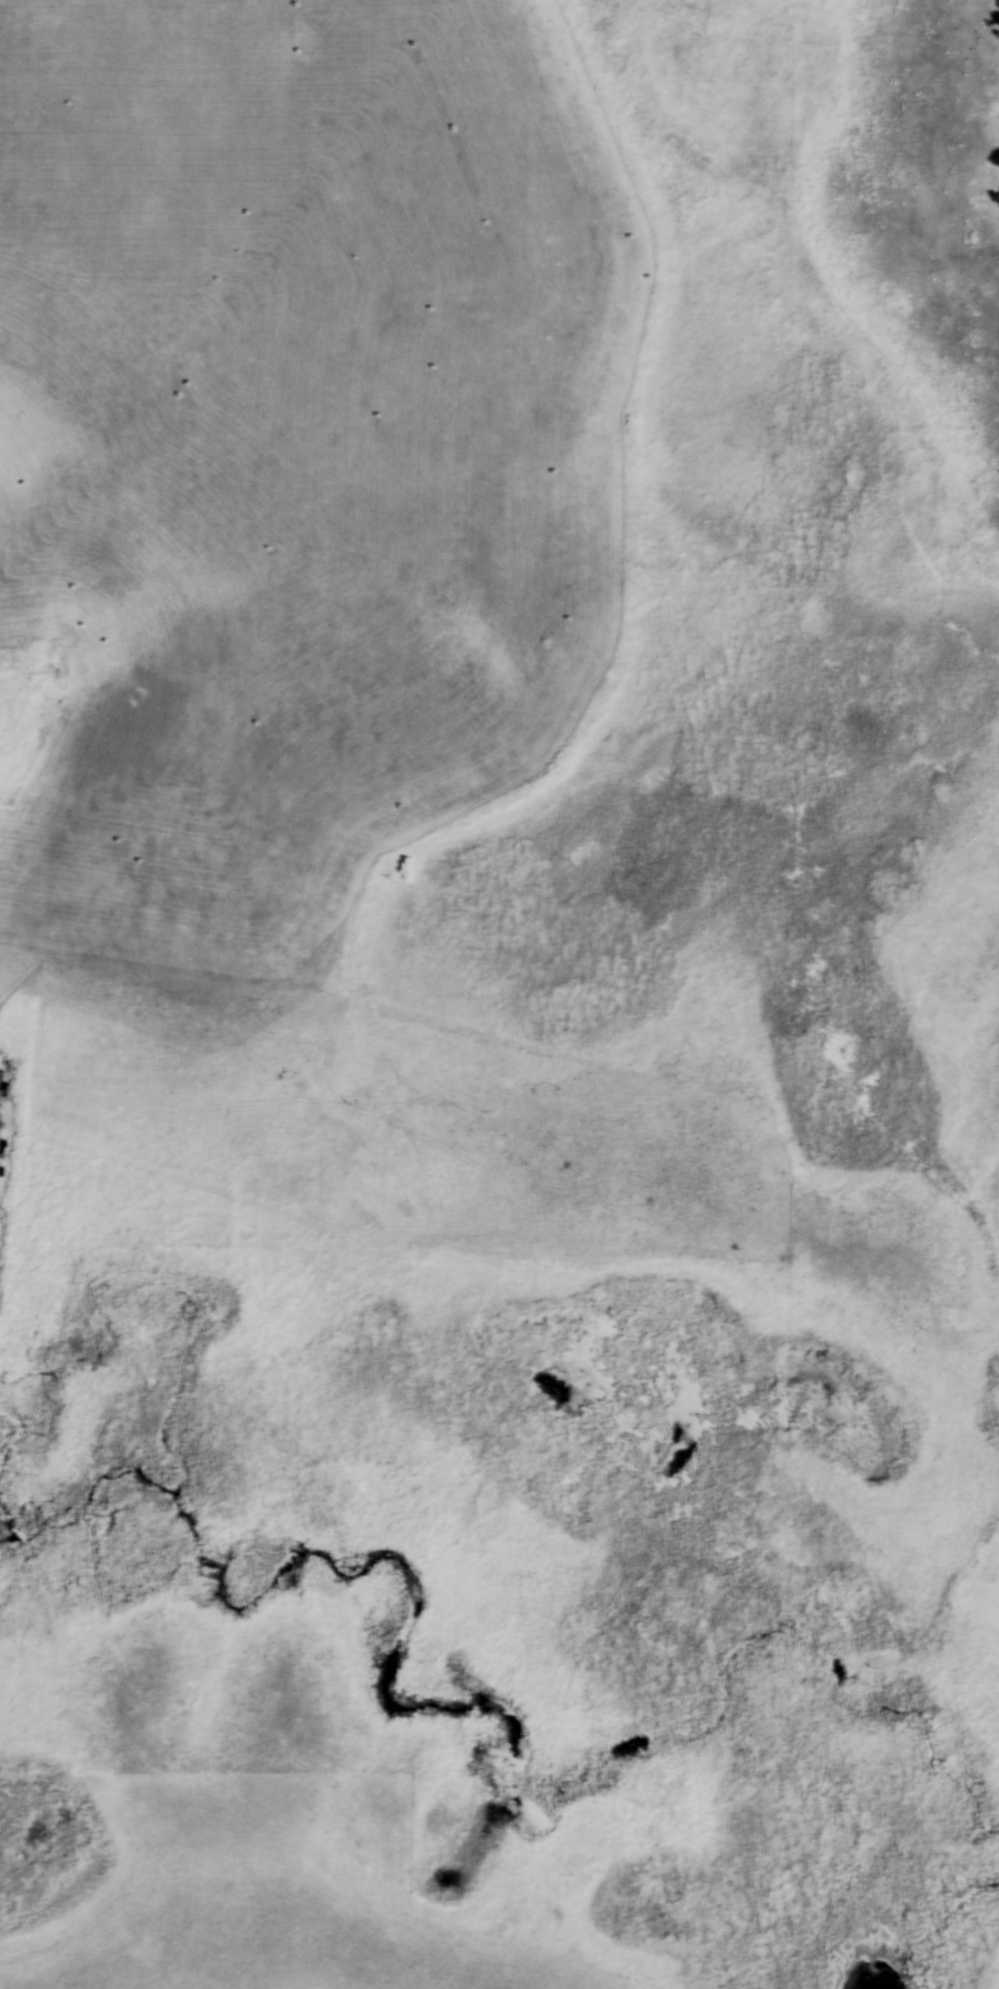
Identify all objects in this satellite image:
river: (17, 1514)

